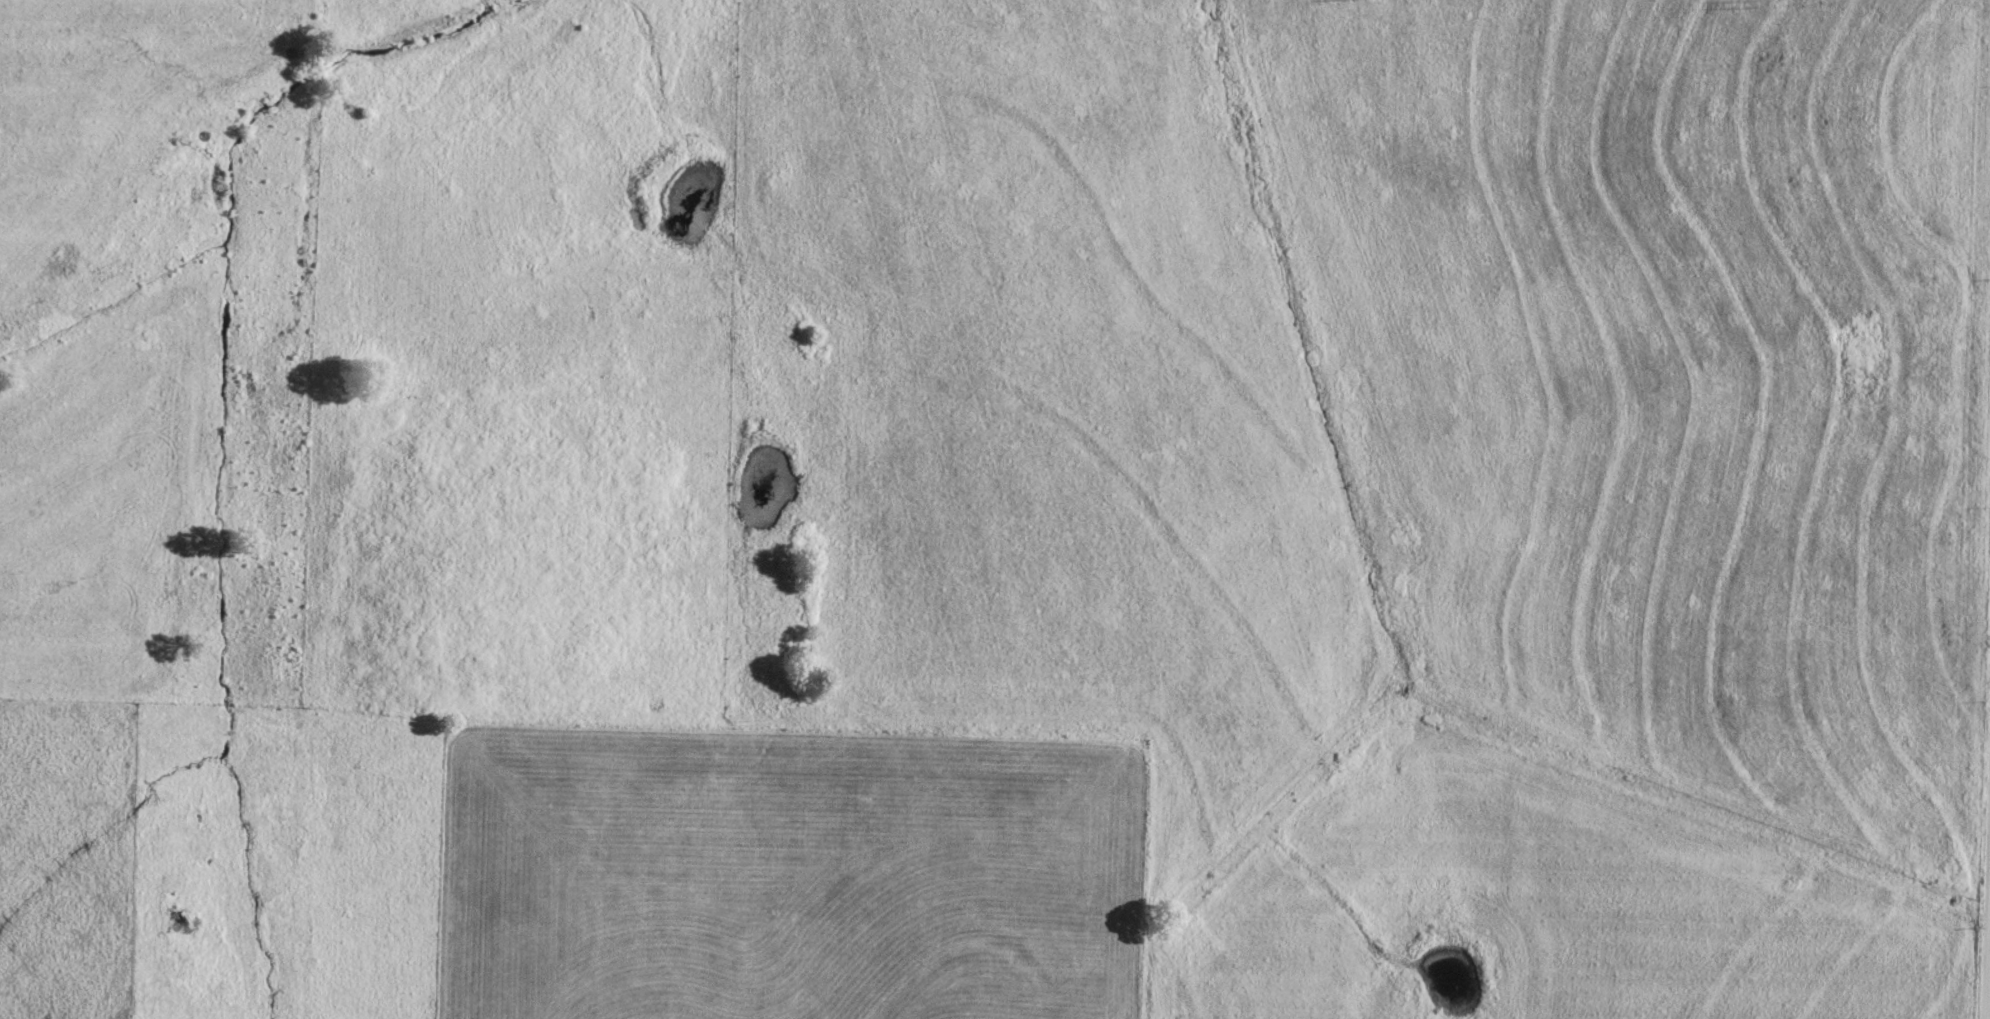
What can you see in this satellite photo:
road: (1988, 981)

